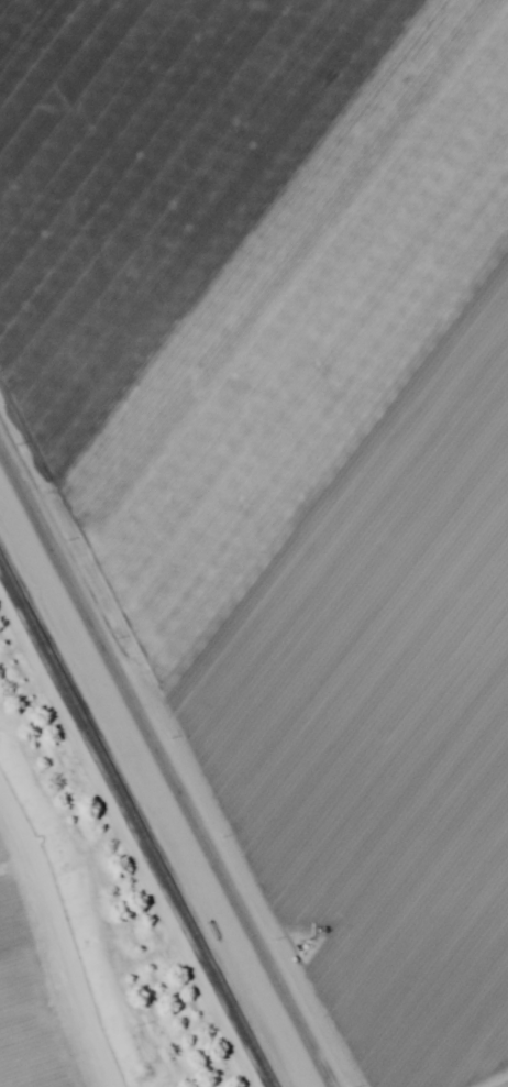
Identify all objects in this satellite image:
crop: (294, 451)
road: (173, 746)
railway: (135, 824)
crop: (51, 982)

